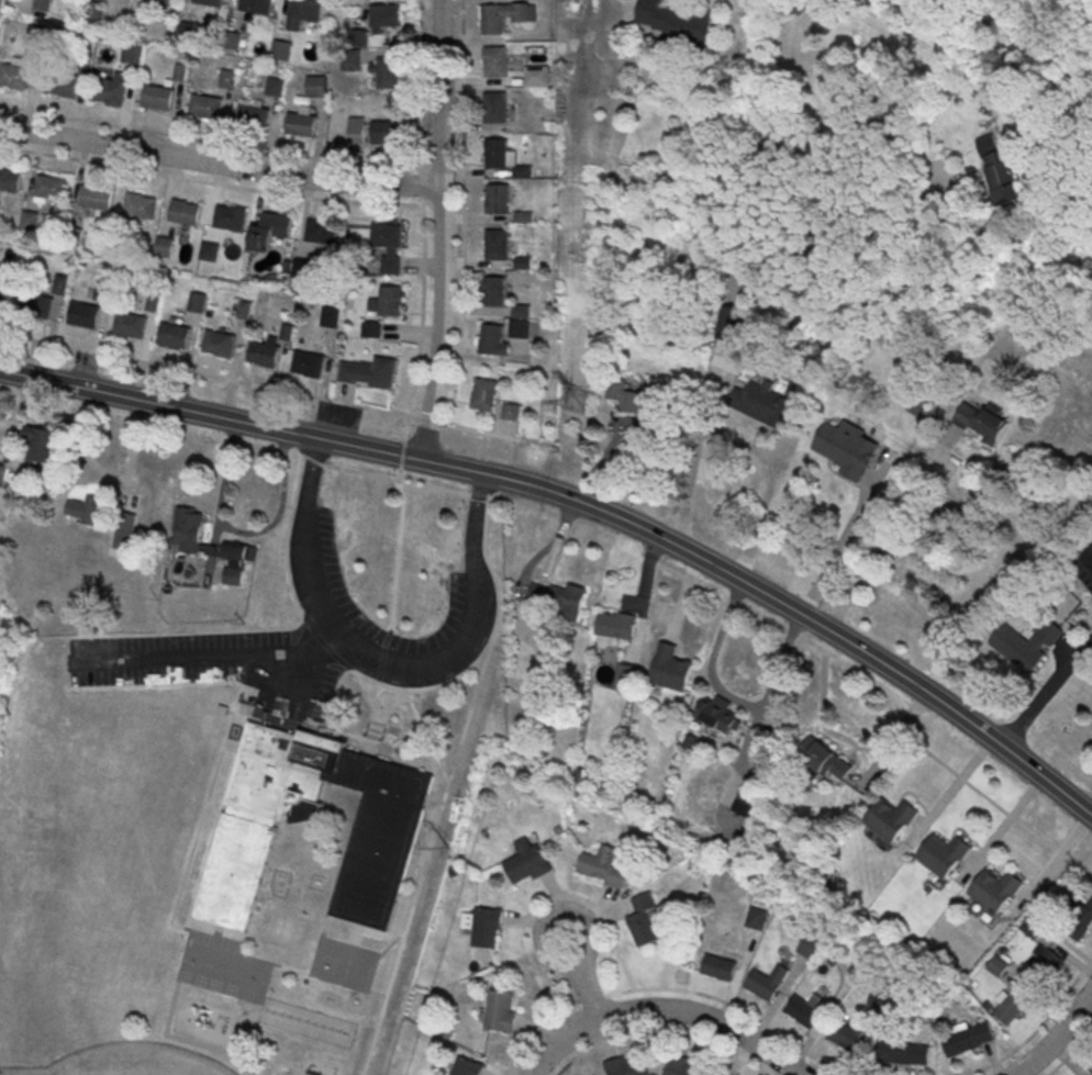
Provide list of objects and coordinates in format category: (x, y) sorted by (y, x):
building: (0, 0)
building: (164, 1)
building: (210, 2)
road: (970, 2)
road: (972, 2)
building: (42, 4)
building: (257, 7)
building: (303, 14)
building: (386, 18)
road: (1085, 18)
building: (494, 21)
building: (678, 23)
building: (37, 36)
building: (359, 36)
road: (1036, 43)
park: (1009, 47)
building: (281, 49)
building: (132, 53)
building: (352, 61)
building: (498, 65)
building: (385, 71)
building: (537, 72)
building: (14, 77)
building: (227, 78)
building: (275, 86)
building: (316, 86)
building: (63, 87)
building: (110, 92)
building: (158, 100)
building: (204, 109)
building: (497, 110)
building: (254, 119)
building: (301, 126)
building: (357, 130)
building: (386, 131)
building: (498, 156)
road: (220, 165)
building: (999, 169)
building: (10, 182)
building: (52, 190)
building: (97, 200)
building: (499, 200)
building: (141, 209)
building: (185, 214)
building: (231, 219)
building: (29, 220)
building: (277, 226)
park: (1083, 226)
road: (442, 231)
building: (321, 232)
building: (164, 245)
building: (390, 245)
building: (498, 247)
building: (209, 250)
building: (301, 268)
building: (60, 285)
building: (497, 294)
building: (2, 300)
building: (388, 301)
building: (37, 307)
building: (331, 315)
building: (85, 316)
building: (371, 324)
building: (132, 327)
building: (520, 328)
building: (176, 337)
building: (493, 341)
building: (221, 346)
building: (265, 356)
building: (309, 366)
building: (371, 373)
road: (279, 390)
building: (487, 396)
building: (636, 402)
power tower: (577, 403)
building: (767, 407)
building: (512, 411)
building: (981, 422)
road: (931, 425)
building: (41, 443)
road: (738, 443)
building: (847, 450)
building: (1, 473)
road: (583, 503)
building: (88, 509)
building: (189, 530)
road: (838, 549)
building: (86, 557)
building: (236, 561)
building: (566, 598)
building: (614, 627)
building: (1026, 648)
road: (382, 665)
building: (670, 667)
building: (622, 676)
road: (729, 693)
road: (1046, 695)
building: (720, 716)
road: (840, 740)
building: (825, 759)
road: (450, 776)
building: (753, 792)
road: (1004, 813)
building: (890, 821)
power tower: (447, 847)
building: (944, 858)
building: (527, 862)
building: (602, 865)
building: (371, 869)
building: (995, 893)
road: (581, 910)
building: (643, 918)
building: (757, 918)
building: (484, 926)
building: (1032, 926)
building: (1080, 926)
building: (810, 947)
building: (996, 964)
building: (718, 966)
building: (1048, 970)
building: (766, 984)
road: (671, 990)
building: (878, 1000)
road: (661, 1009)
building: (1012, 1009)
building: (501, 1010)
building: (803, 1015)
road: (1039, 1027)
road: (660, 1030)
building: (846, 1035)
building: (967, 1038)
road: (1057, 1038)
road: (1071, 1051)
building: (904, 1055)
park: (133, 1062)
building: (627, 1065)
building: (467, 1066)
building: (684, 1066)
building: (1090, 1068)

